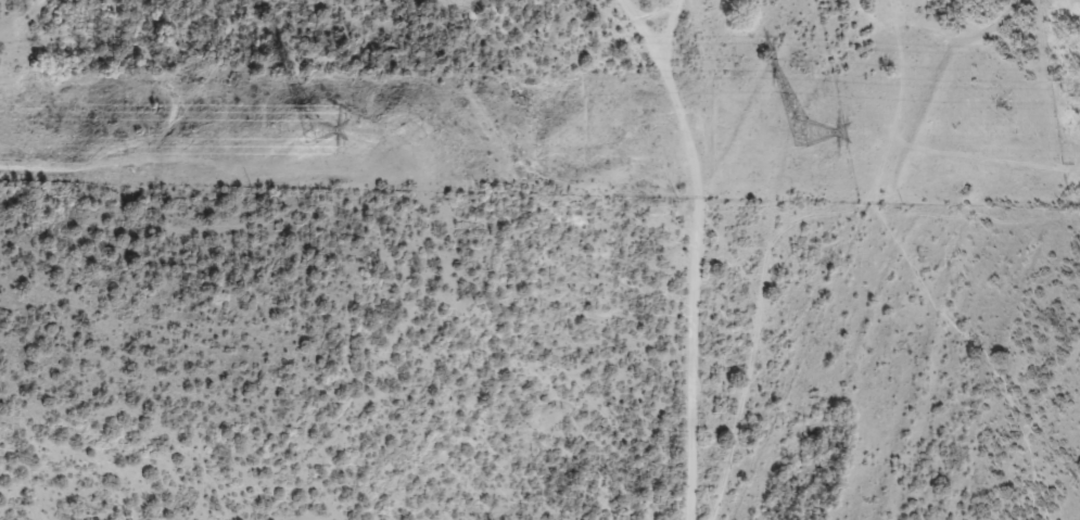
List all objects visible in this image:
power tower: (305, 128)
power tower: (798, 130)
road: (811, 225)
road: (685, 246)

